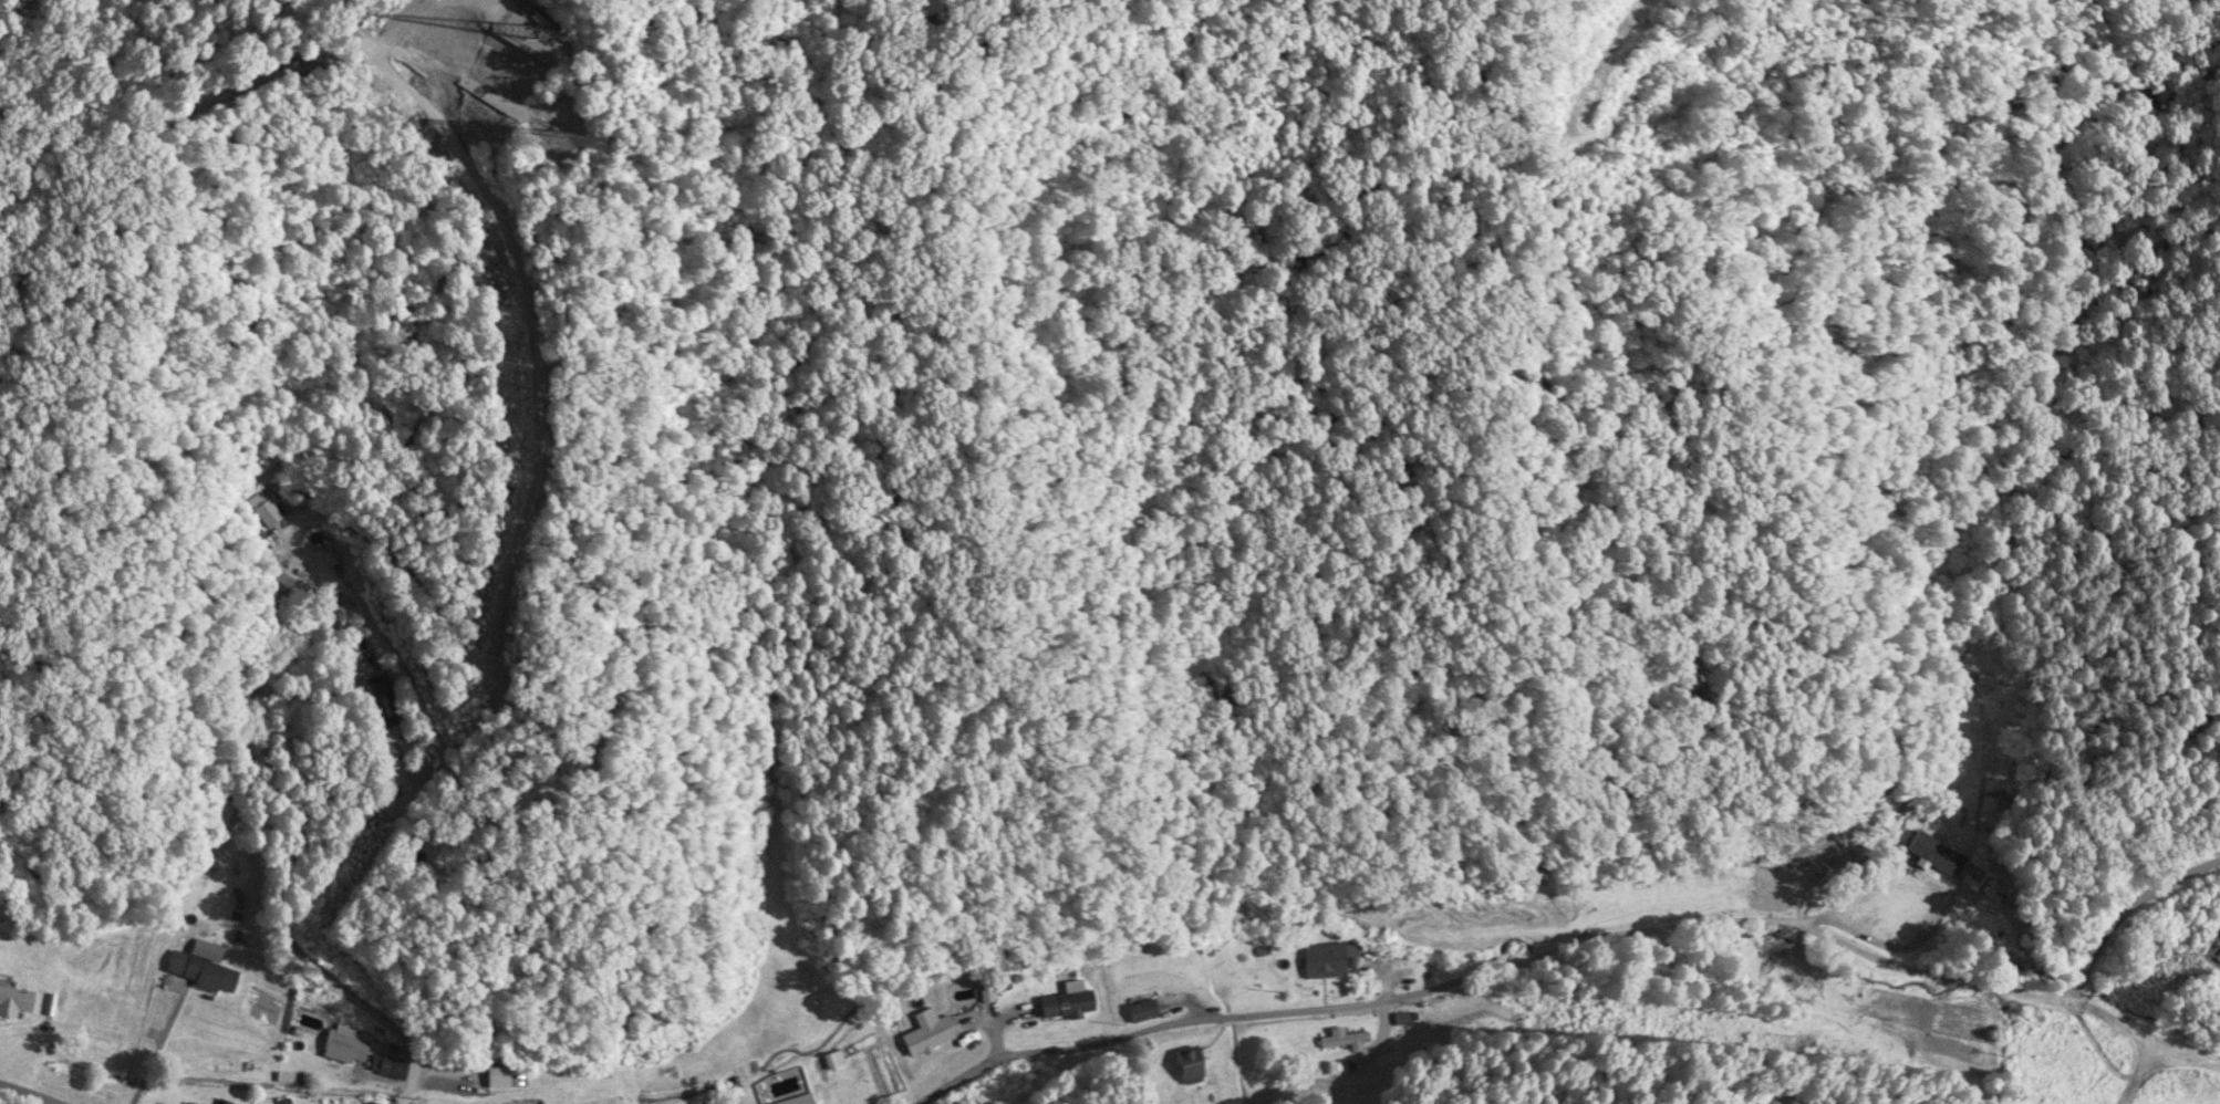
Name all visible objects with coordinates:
road: (291, 865)
building: (1328, 960)
building: (206, 975)
road: (1501, 975)
building: (15, 1002)
building: (1069, 1003)
building: (1143, 1012)
building: (930, 1034)
building: (346, 1046)
road: (157, 1048)
building: (1190, 1072)
building: (498, 1077)
building: (785, 1089)
road: (37, 1091)
road: (402, 1097)

